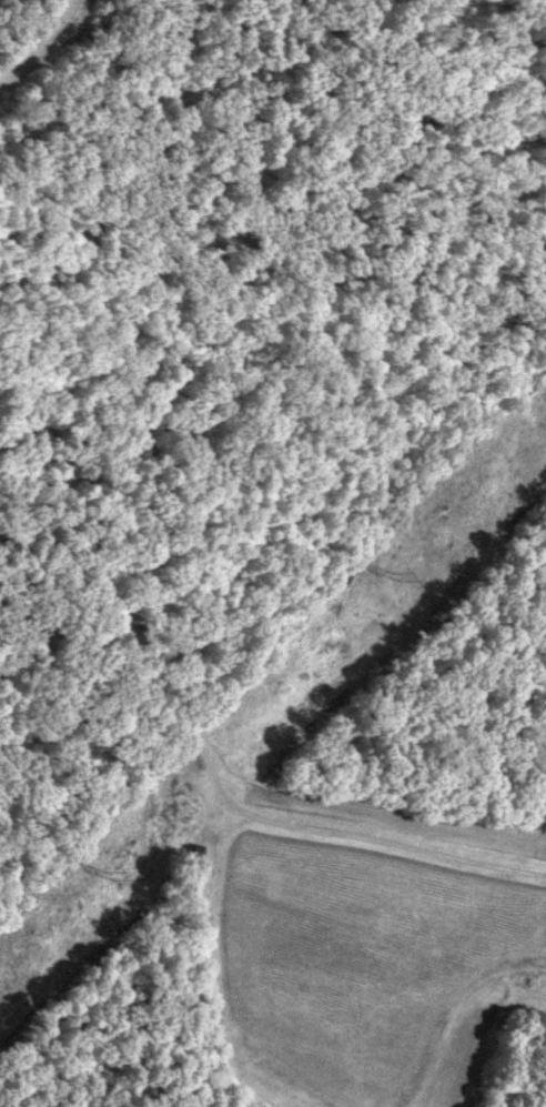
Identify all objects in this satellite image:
road: (43, 56)
power tower: (395, 582)
road: (236, 802)
building: (191, 873)
power tower: (110, 877)

